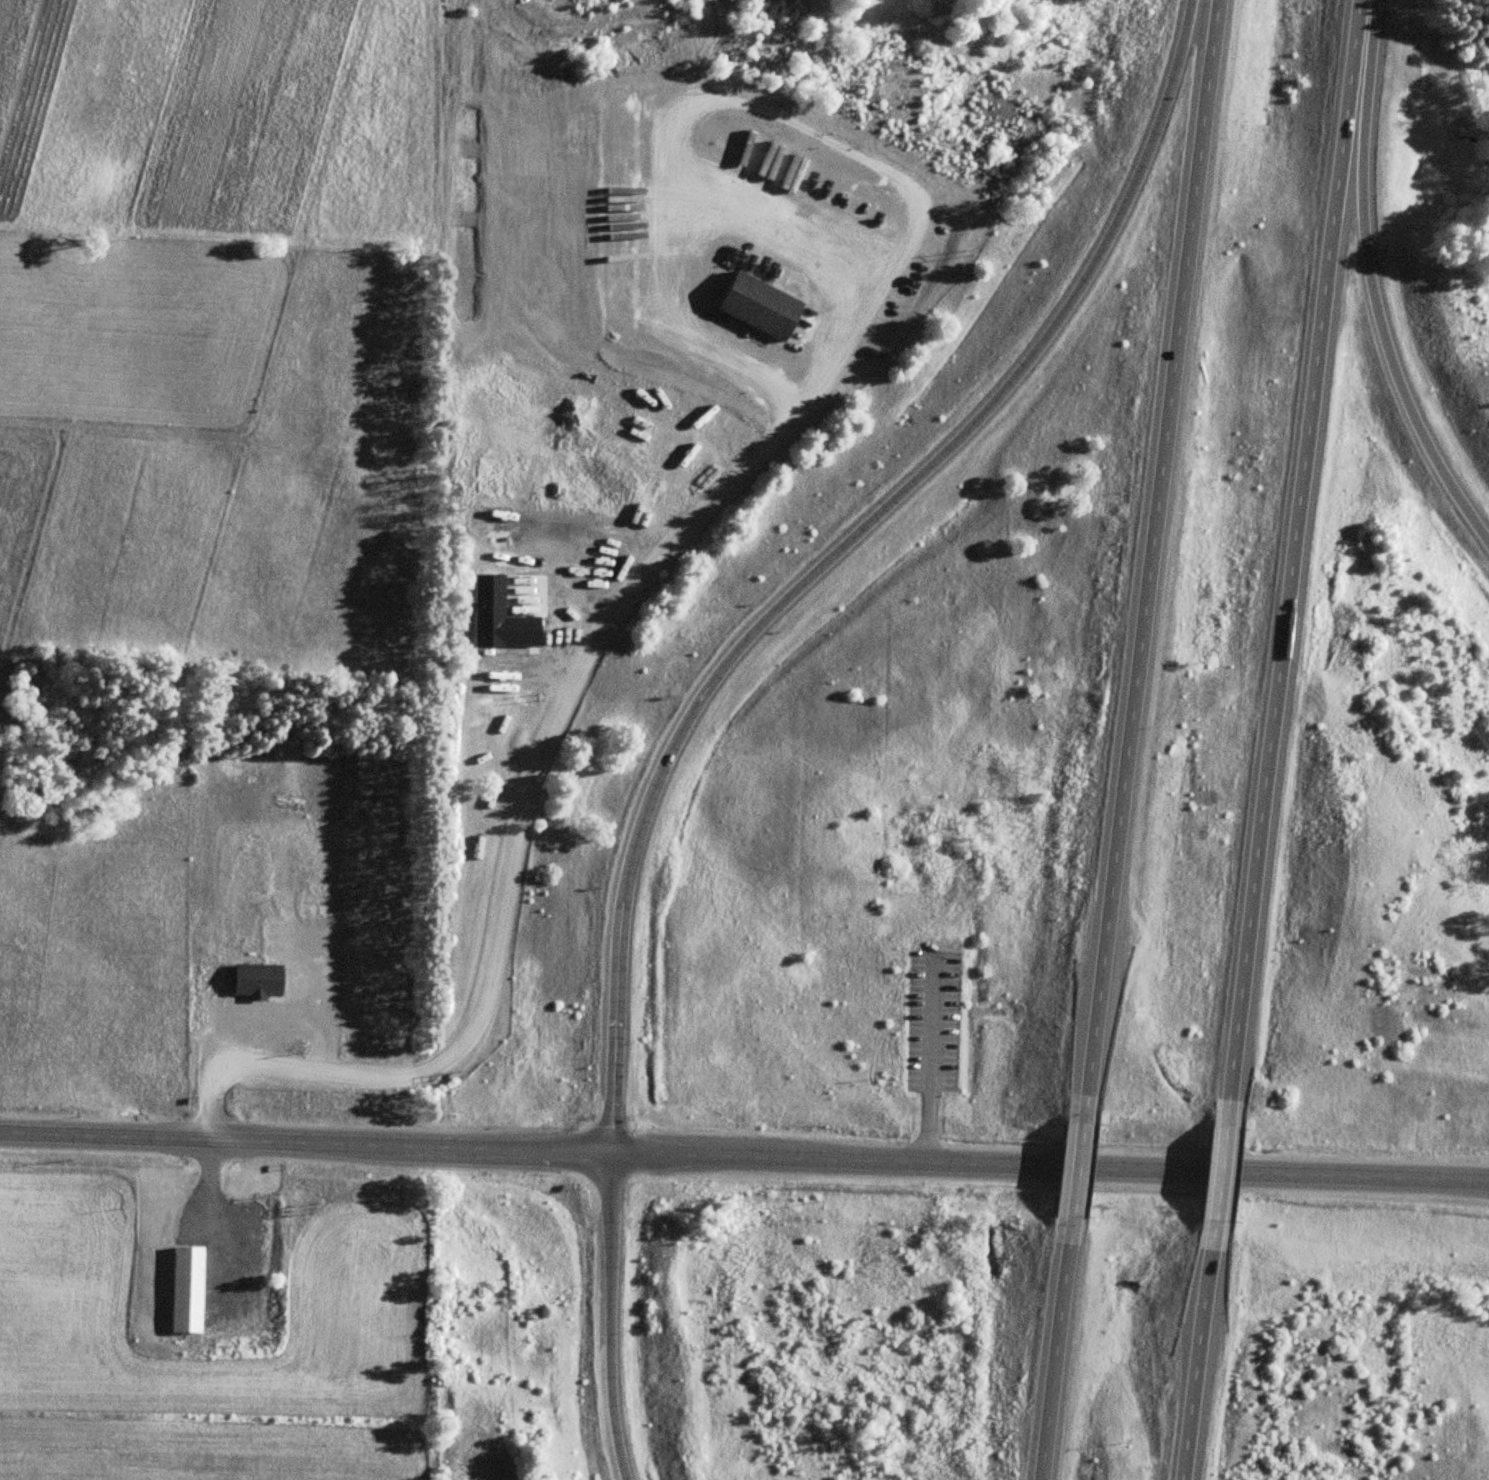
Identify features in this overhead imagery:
building: (470, 126)
building: (678, 227)
road: (1371, 285)
building: (760, 305)
building: (794, 429)
road: (1150, 546)
road: (1292, 547)
road: (831, 552)
building: (498, 617)
building: (1252, 934)
building: (257, 981)
road: (304, 1144)
road: (1049, 1167)
road: (1077, 1167)
road: (1218, 1171)
building: (186, 1289)
road: (608, 1318)
road: (1053, 1361)
road: (1194, 1363)

